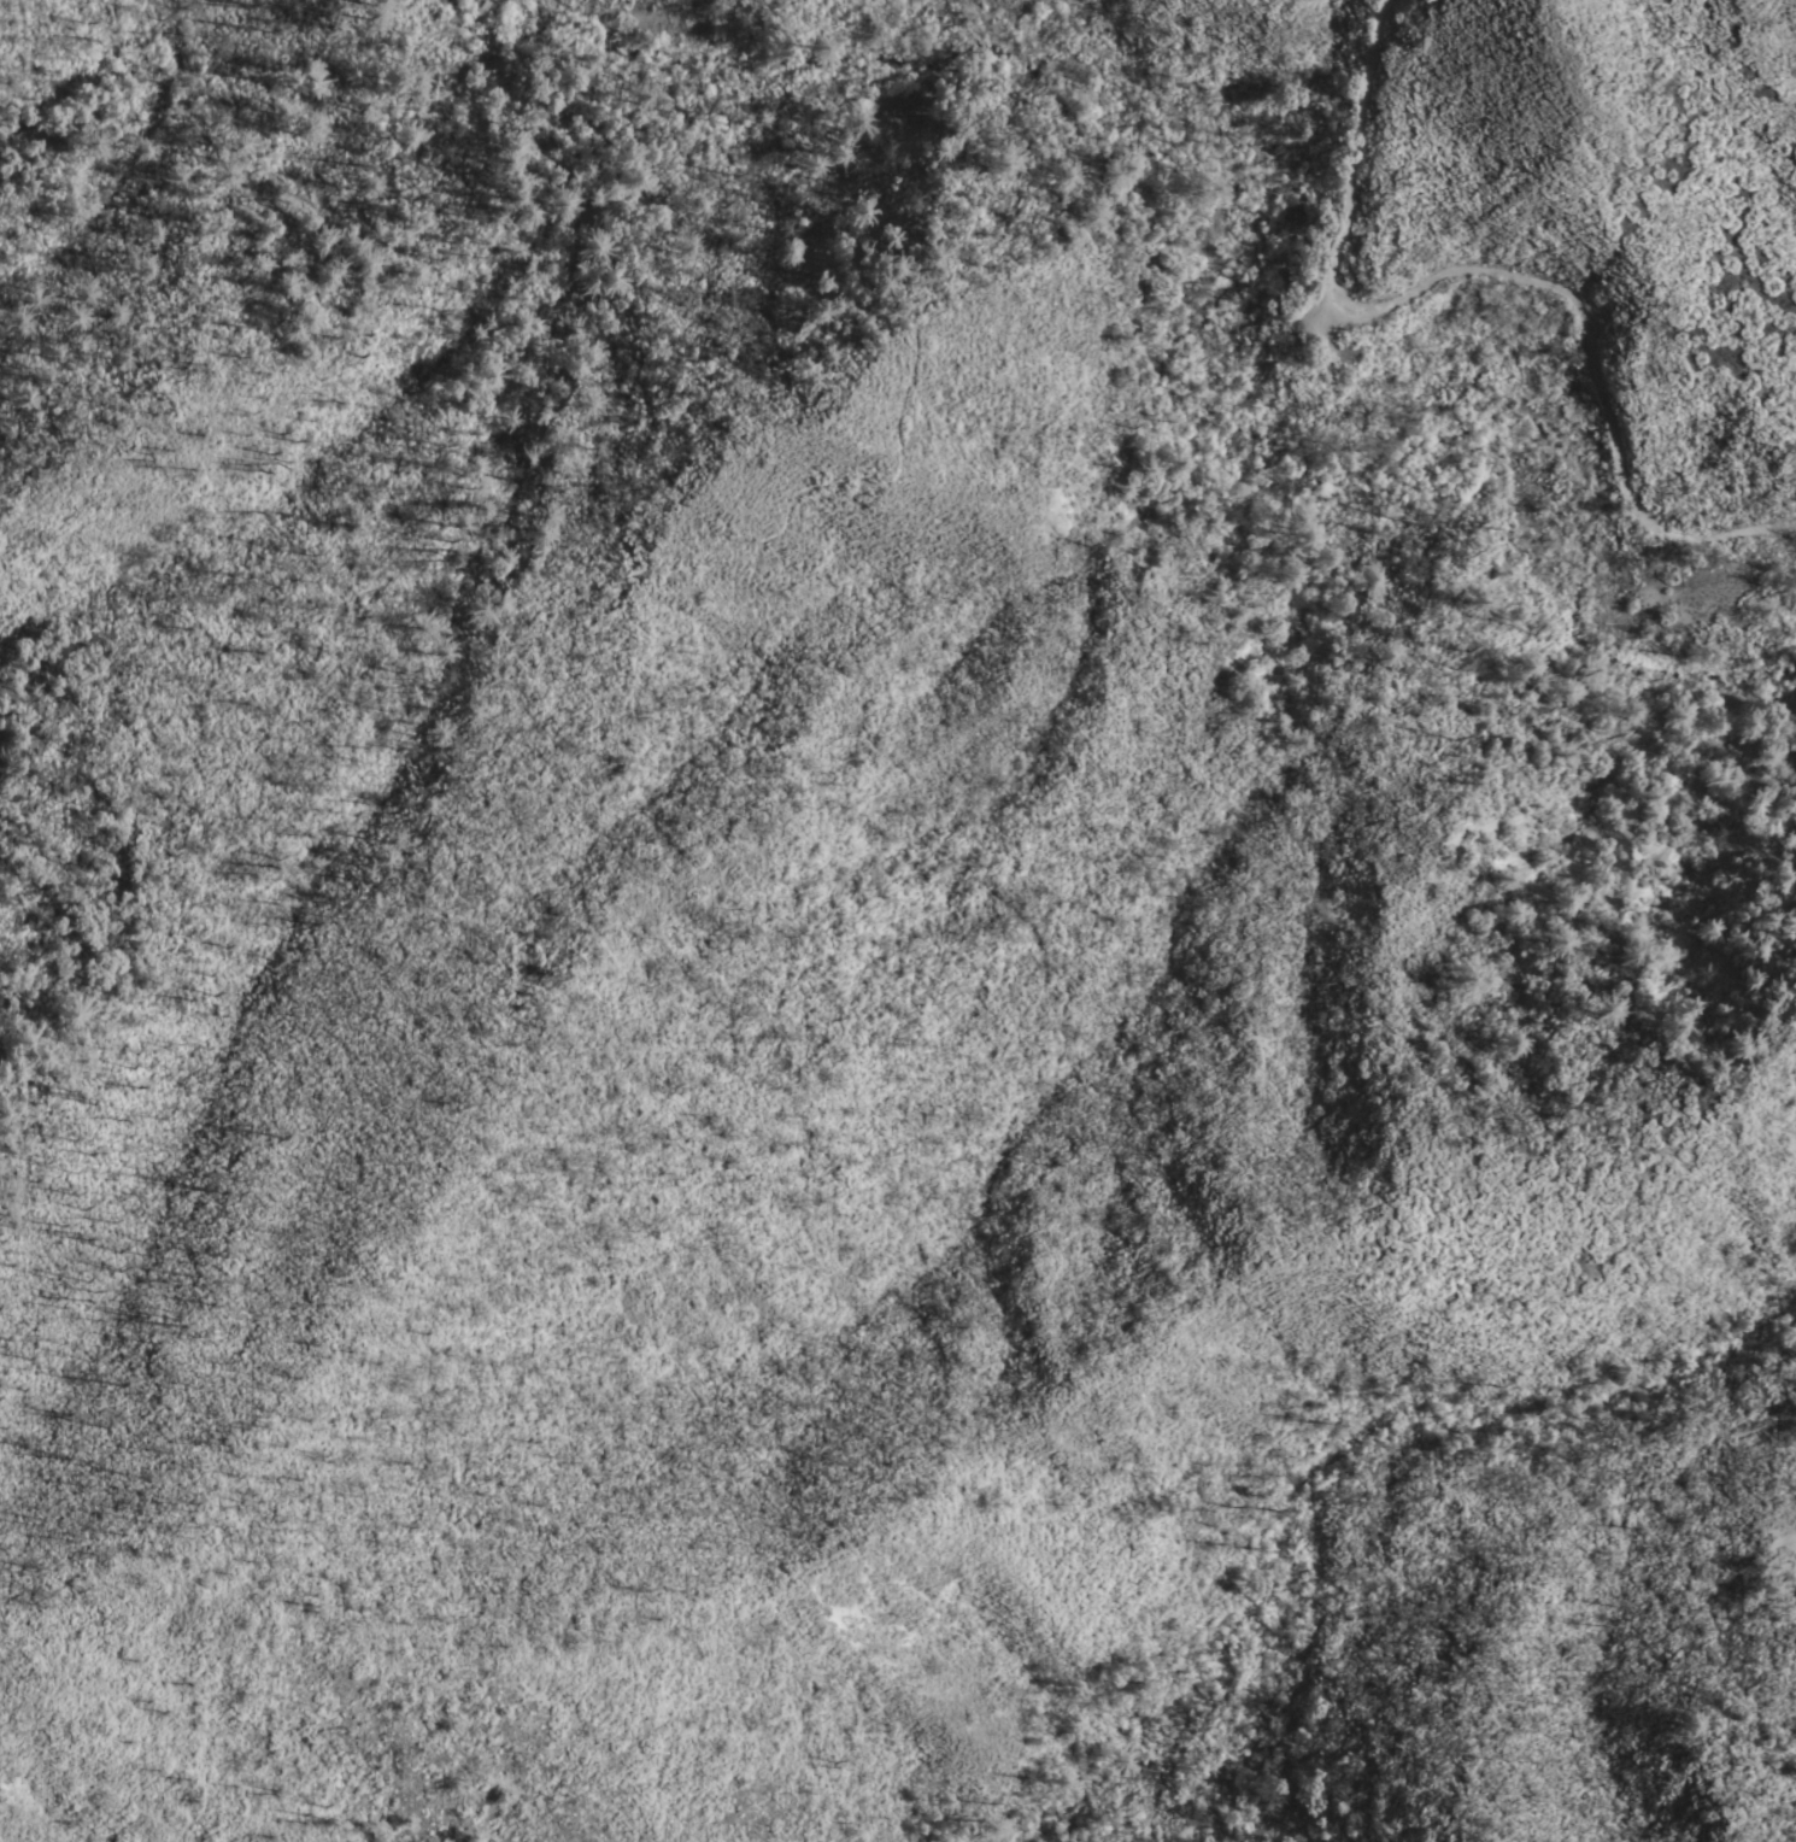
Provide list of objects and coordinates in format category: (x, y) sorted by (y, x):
road: (1496, 277)
road: (1013, 905)
road: (1296, 1708)

